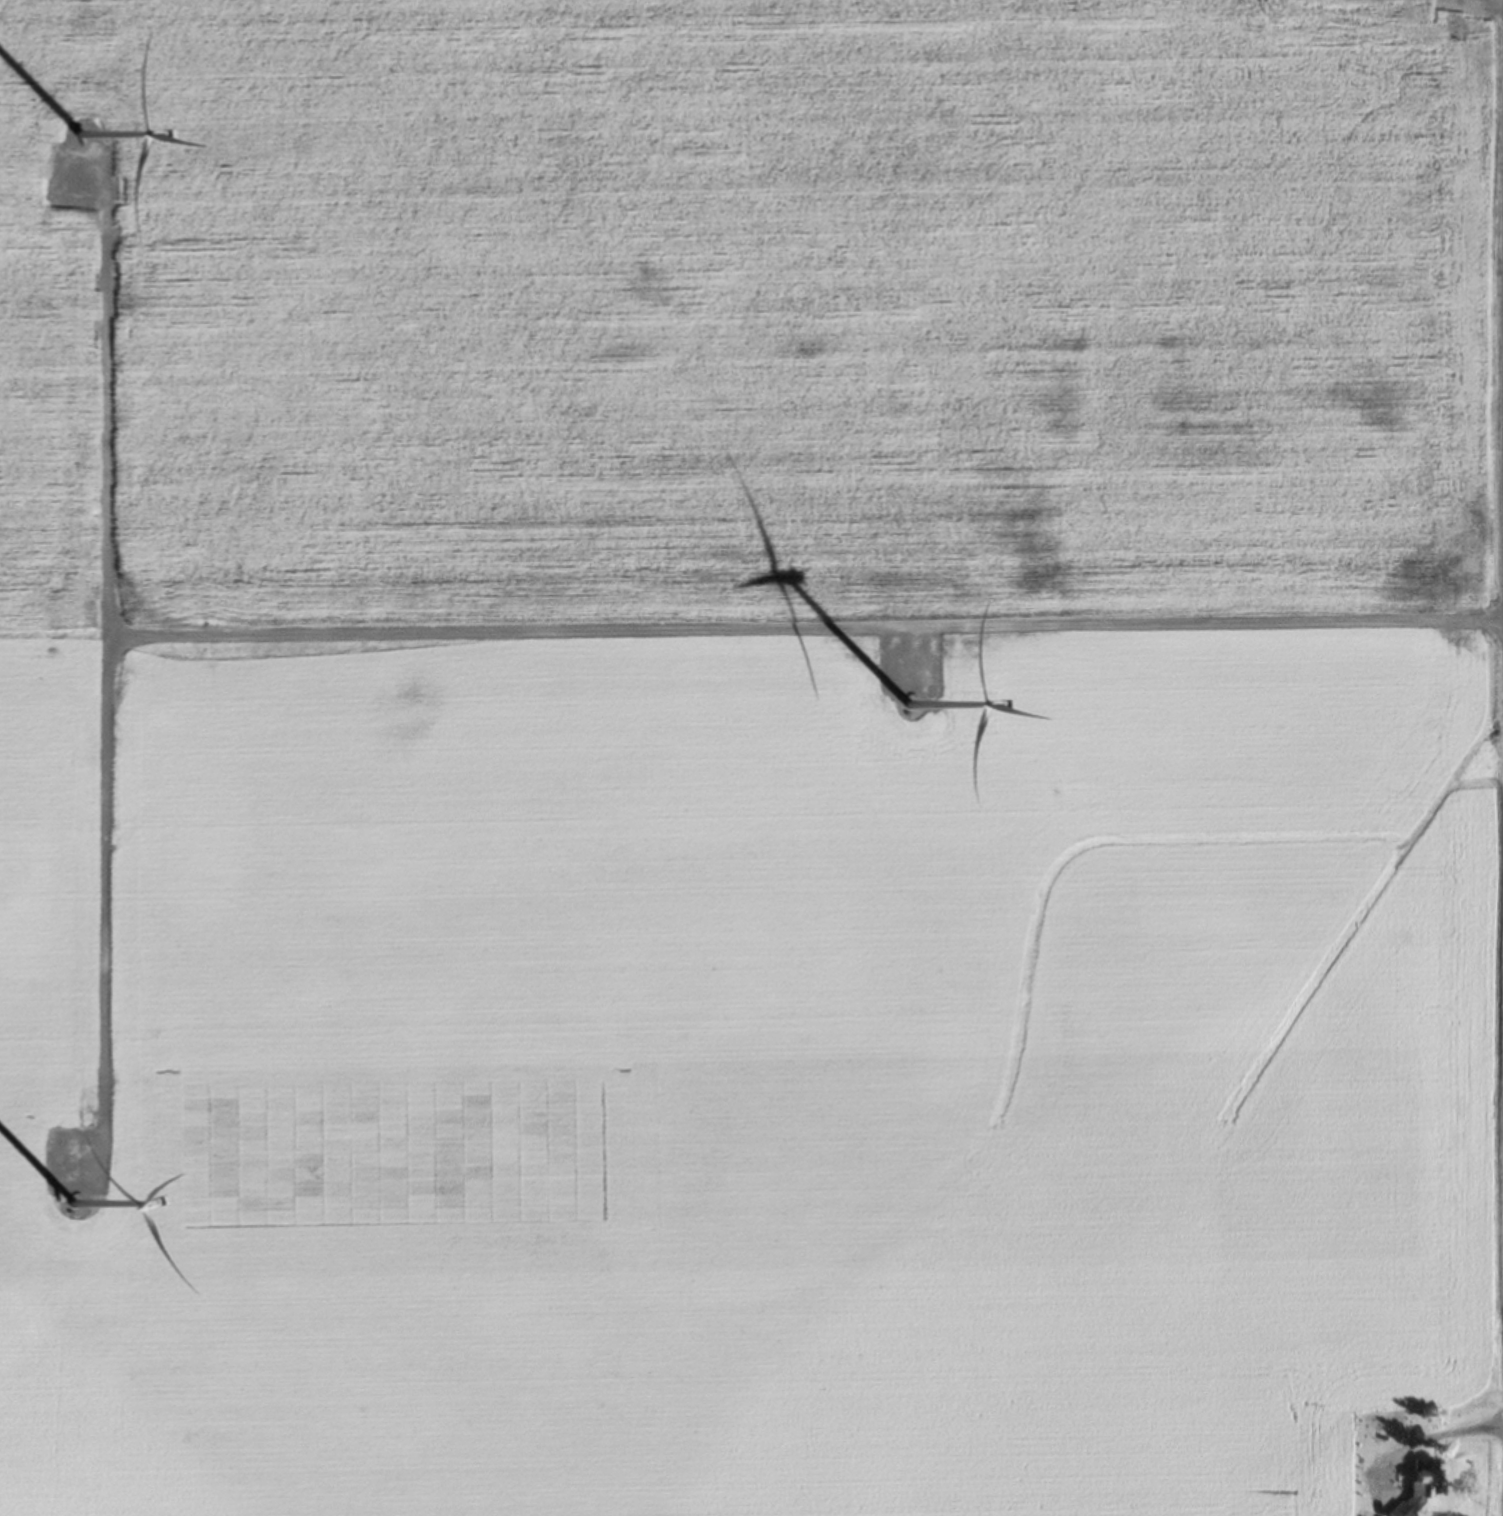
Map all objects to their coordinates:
building: (1304, 0)
wind turbine: (80, 140)
road: (800, 634)
road: (96, 676)
wind turbine: (910, 707)
wind turbine: (75, 1210)
building: (1420, 1487)
building: (1387, 1515)

